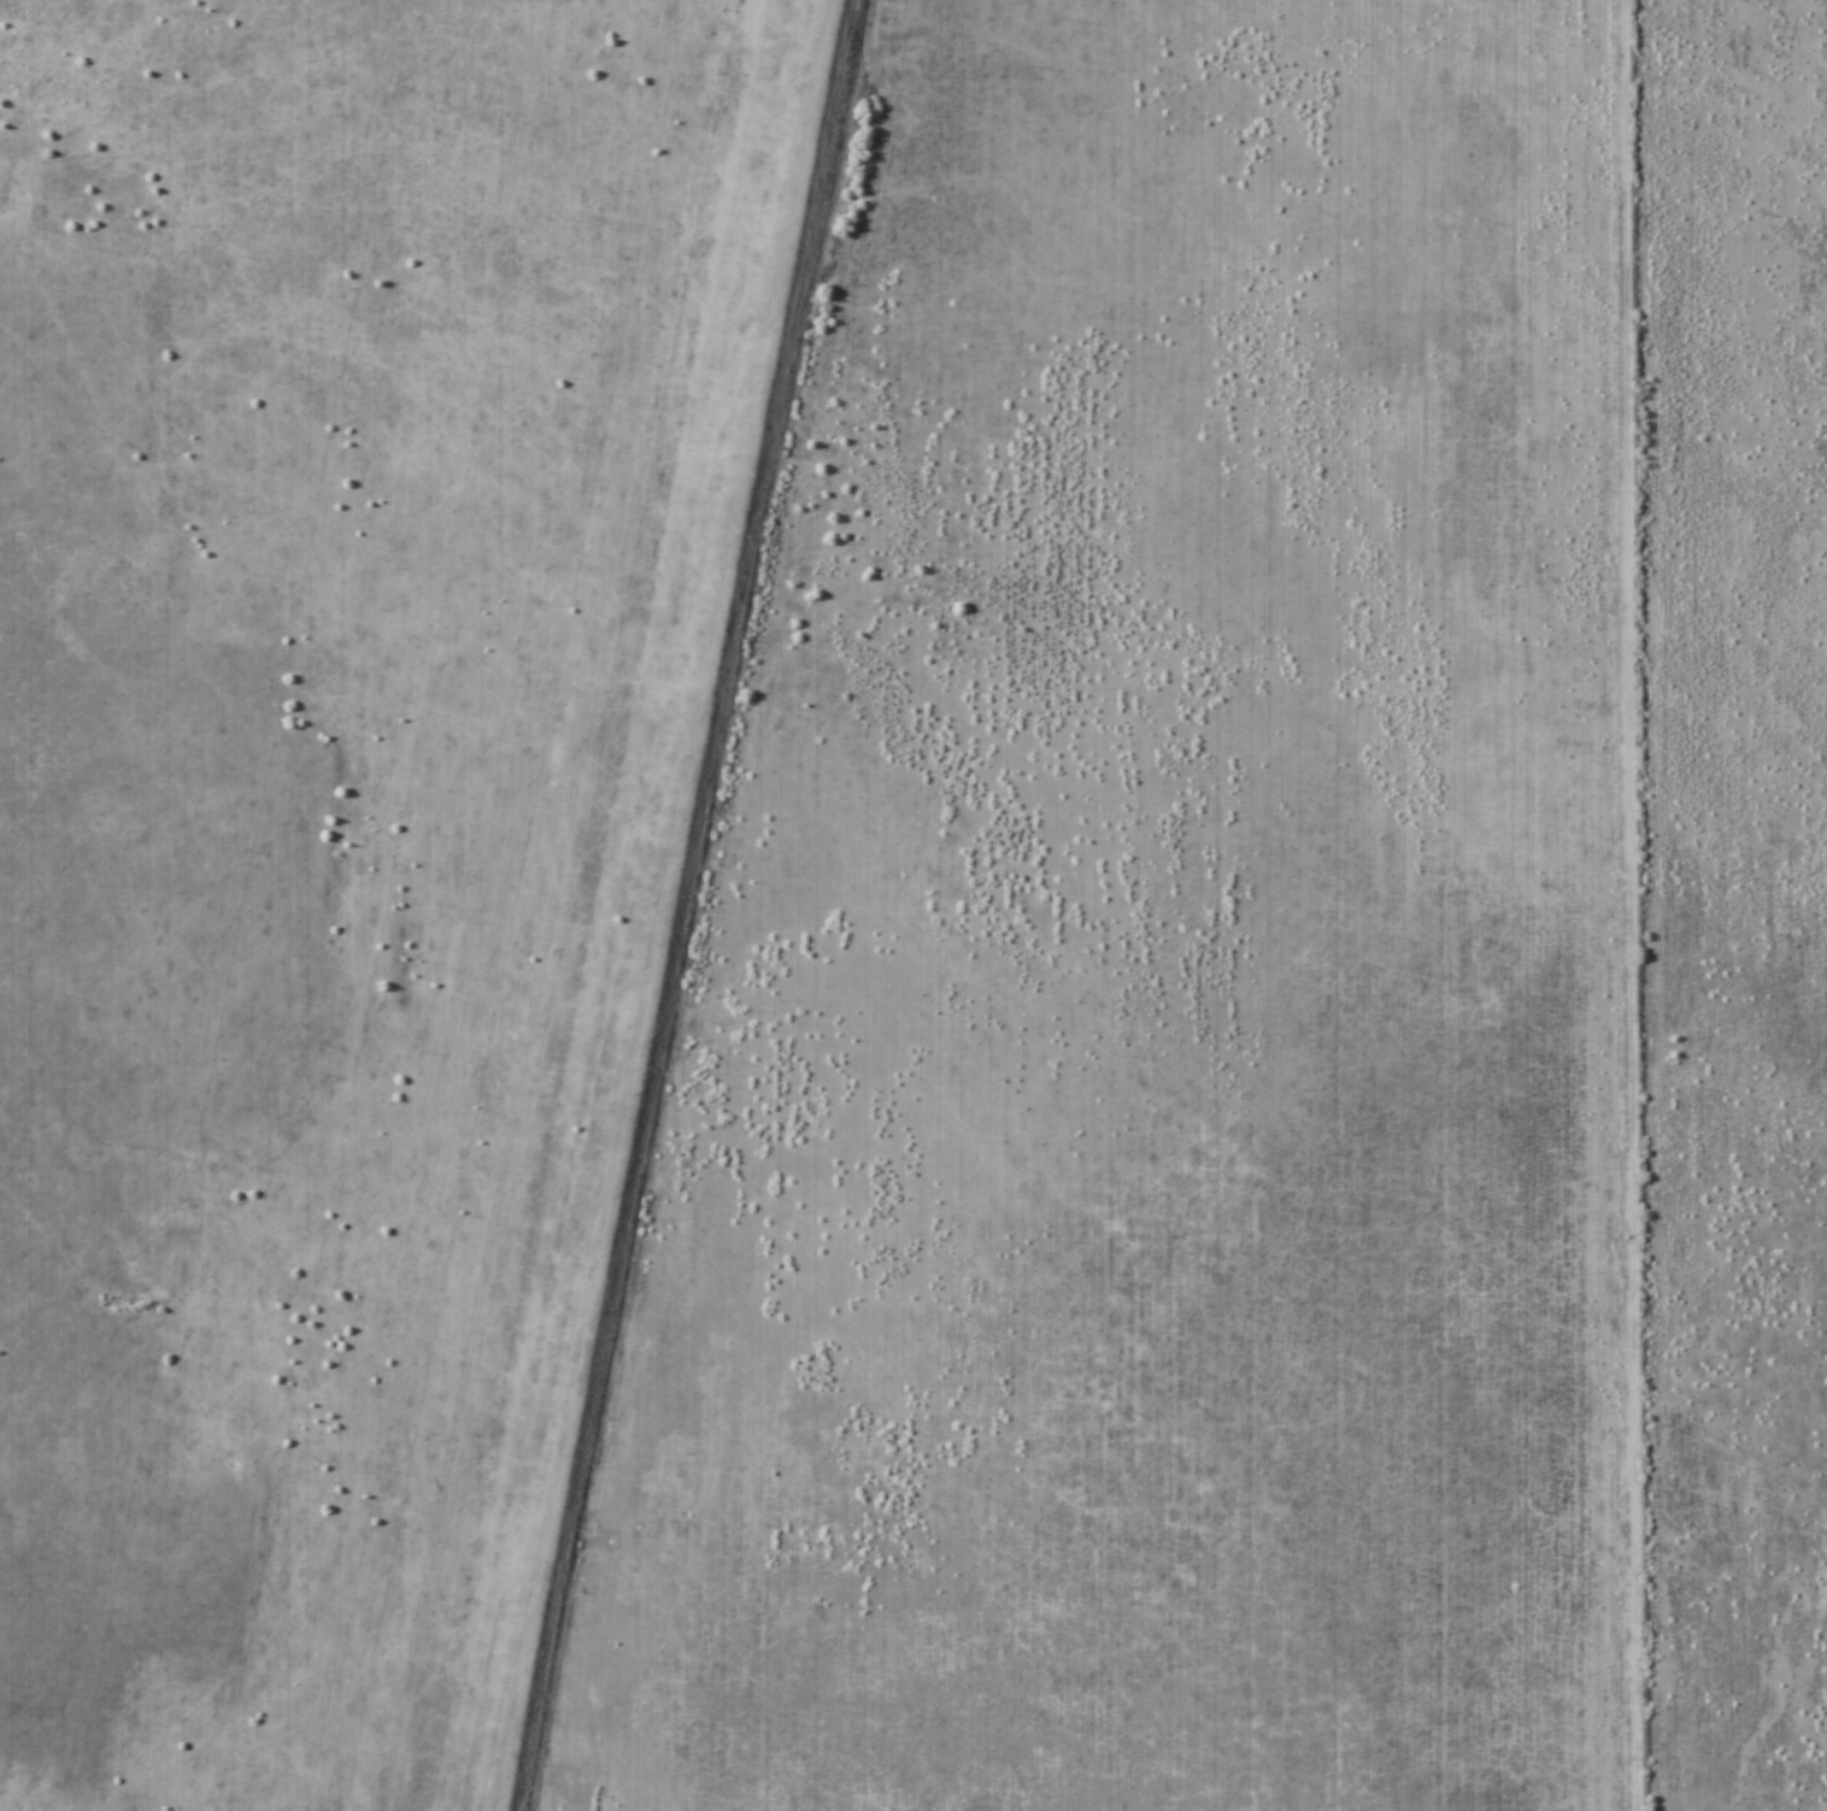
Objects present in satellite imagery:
road: (1602, 905)

